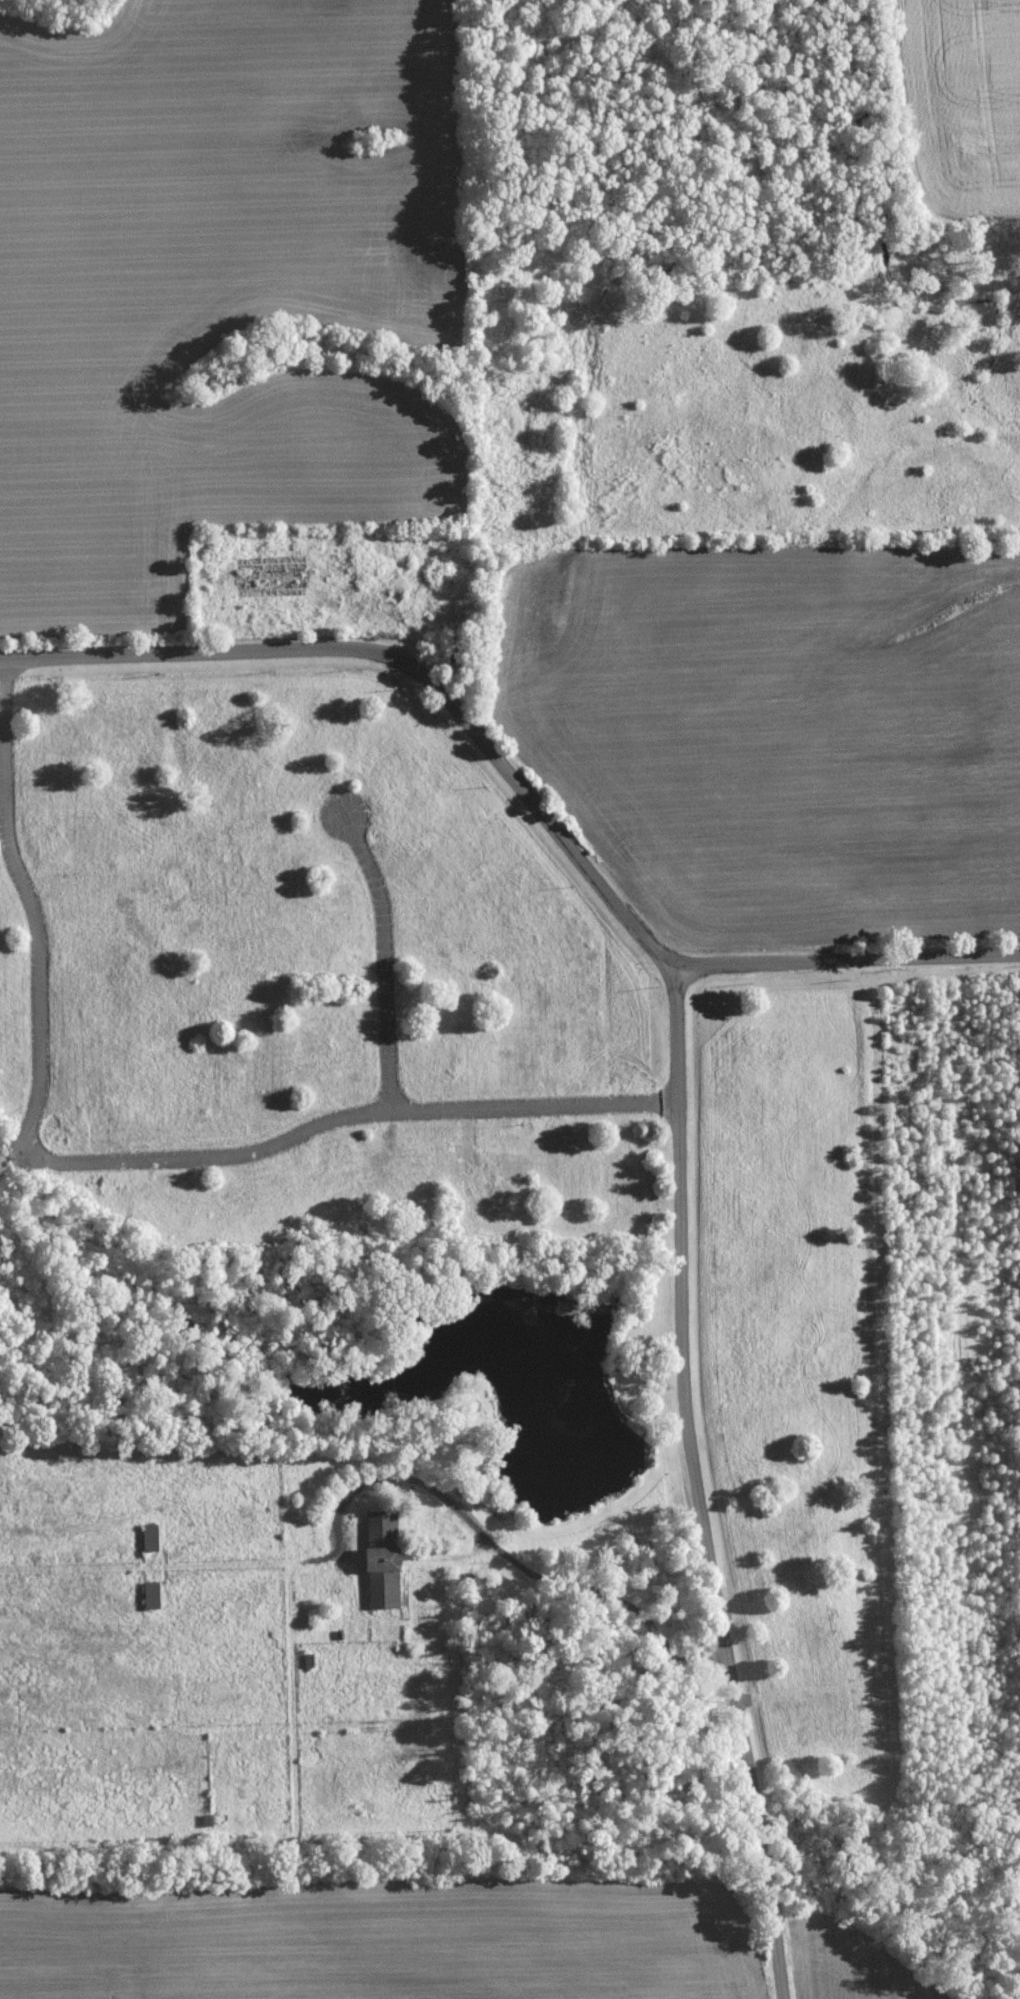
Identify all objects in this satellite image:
crop: (963, 103)
crop: (212, 284)
road: (520, 788)
road: (35, 913)
road: (385, 958)
road: (335, 1116)
road: (696, 1483)
building: (150, 1537)
building: (382, 1560)
road: (521, 1565)
building: (151, 1594)

